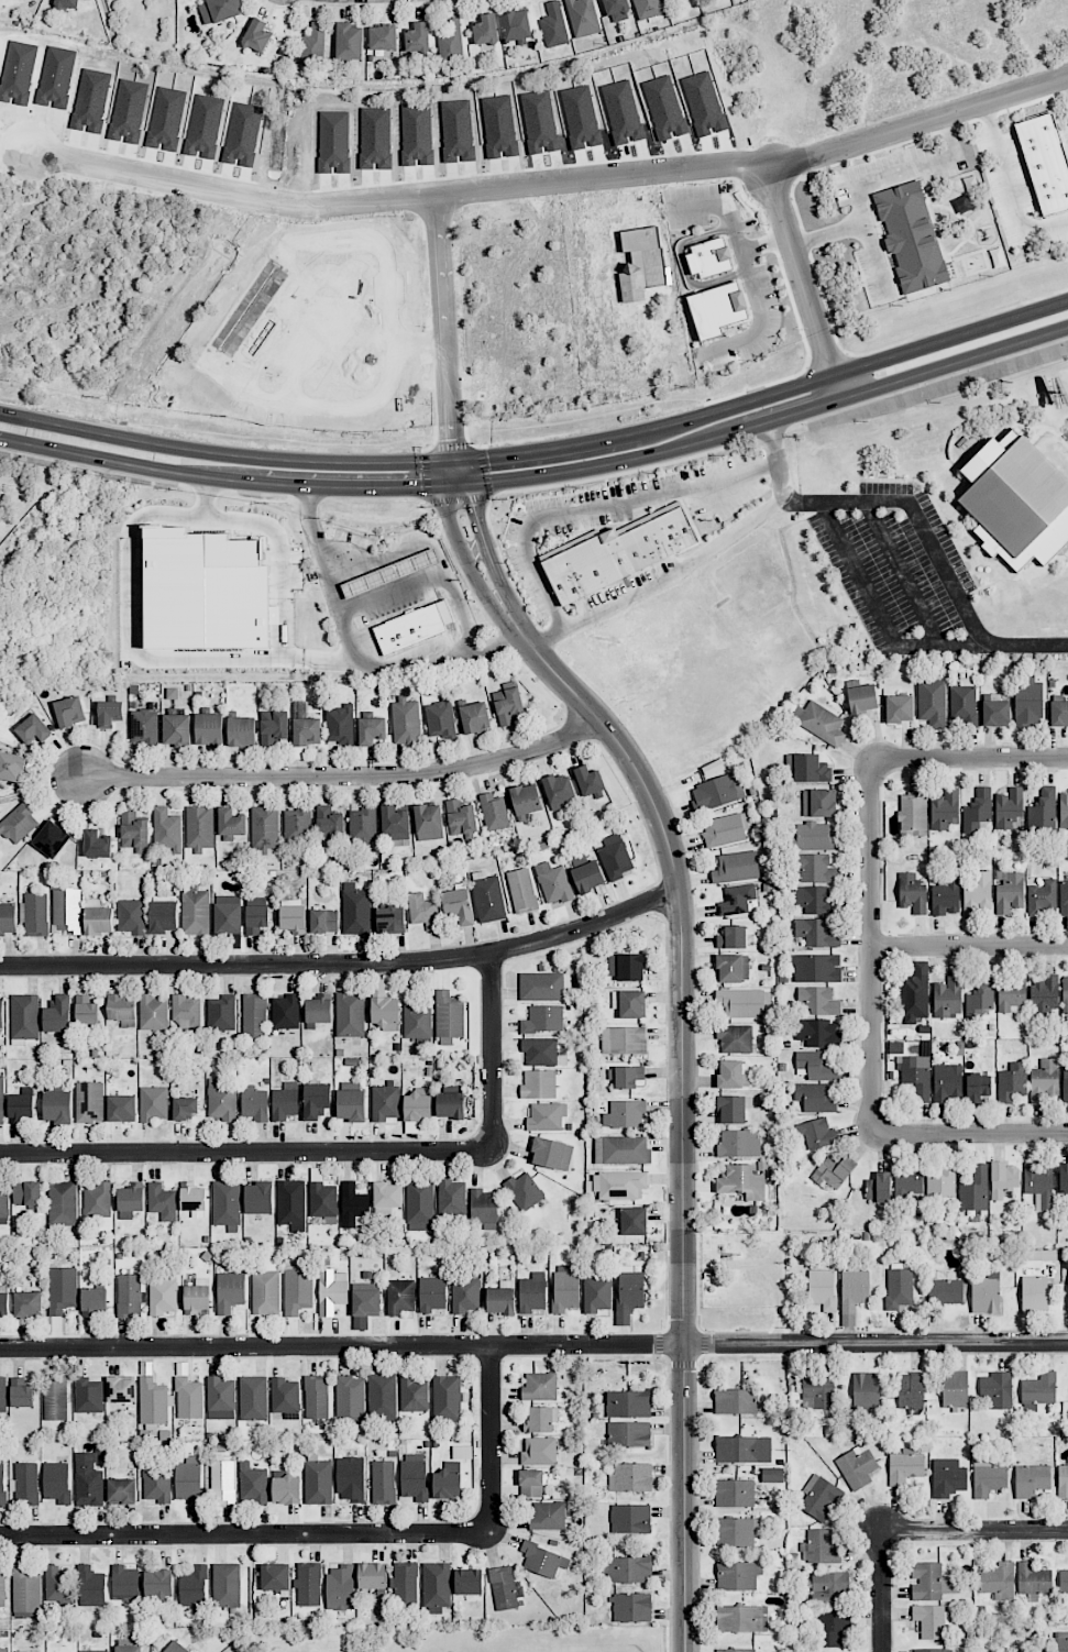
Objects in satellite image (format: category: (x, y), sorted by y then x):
building: (67, 4)
building: (648, 8)
building: (219, 10)
building: (617, 10)
building: (583, 18)
building: (516, 25)
building: (553, 25)
building: (485, 30)
building: (256, 35)
building: (383, 37)
building: (417, 37)
building: (349, 42)
building: (451, 43)
building: (313, 46)
road: (1065, 86)
road: (918, 122)
building: (1046, 161)
road: (870, 179)
road: (1011, 184)
building: (971, 185)
road: (398, 197)
road: (728, 209)
building: (911, 236)
road: (349, 239)
building: (709, 256)
road: (876, 258)
road: (280, 260)
road: (804, 284)
road: (764, 300)
building: (717, 308)
road: (246, 311)
road: (441, 328)
road: (417, 342)
road: (225, 375)
road: (762, 397)
road: (279, 399)
road: (370, 404)
road: (771, 421)
traffic signals: (449, 438)
road: (223, 454)
traffic signals: (489, 458)
road: (459, 473)
road: (231, 480)
traffic signals: (410, 487)
building: (1016, 500)
traffic signals: (473, 507)
road: (599, 507)
road: (481, 535)
road: (460, 546)
road: (935, 551)
building: (618, 553)
road: (288, 558)
road: (693, 559)
building: (389, 573)
gas station: (389, 573)
road: (903, 573)
road: (430, 576)
building: (208, 596)
road: (507, 599)
road: (880, 618)
building: (414, 628)
road: (133, 642)
road: (359, 656)
building: (862, 698)
building: (1028, 702)
building: (932, 703)
building: (964, 704)
building: (508, 706)
street lamp: (560, 708)
building: (899, 708)
building: (69, 712)
building: (109, 713)
building: (995, 713)
building: (1058, 714)
building: (475, 717)
building: (440, 718)
building: (406, 720)
building: (819, 723)
building: (340, 724)
building: (144, 727)
building: (274, 727)
building: (33, 729)
building: (176, 729)
building: (209, 729)
building: (371, 730)
building: (241, 731)
building: (306, 731)
road: (969, 760)
building: (11, 767)
building: (808, 768)
road: (345, 777)
building: (588, 780)
building: (558, 791)
building: (717, 792)
building: (525, 799)
building: (818, 803)
building: (945, 808)
building: (1009, 808)
building: (1044, 810)
building: (977, 811)
building: (1064, 811)
building: (494, 812)
building: (913, 813)
building: (461, 819)
building: (428, 822)
building: (395, 823)
building: (19, 824)
building: (231, 824)
building: (297, 825)
building: (329, 825)
building: (362, 825)
building: (199, 827)
building: (264, 828)
building: (167, 829)
building: (725, 829)
building: (133, 830)
building: (817, 837)
building: (52, 839)
building: (97, 844)
building: (616, 858)
building: (736, 867)
building: (815, 869)
building: (587, 877)
building: (553, 883)
building: (521, 891)
building: (912, 893)
building: (1009, 893)
building: (978, 894)
building: (487, 896)
building: (945, 896)
building: (1064, 897)
building: (1043, 899)
building: (737, 900)
building: (815, 900)
building: (458, 905)
building: (355, 910)
building: (67, 911)
building: (422, 911)
building: (195, 913)
building: (36, 914)
building: (131, 916)
building: (163, 917)
building: (8, 918)
building: (228, 918)
building: (256, 918)
building: (294, 918)
street lamp: (657, 918)
building: (390, 919)
building: (99, 921)
building: (323, 921)
building: (817, 932)
building: (731, 937)
road: (968, 947)
road: (869, 948)
road: (345, 963)
building: (626, 967)
building: (731, 968)
building: (817, 968)
building: (543, 985)
building: (915, 994)
building: (1011, 994)
building: (1065, 994)
building: (1044, 995)
building: (948, 998)
building: (980, 998)
building: (818, 1001)
building: (629, 1003)
building: (741, 1003)
building: (383, 1006)
building: (122, 1009)
building: (318, 1010)
building: (86, 1011)
building: (186, 1011)
building: (153, 1012)
building: (285, 1012)
building: (221, 1013)
building: (57, 1014)
building: (349, 1014)
building: (254, 1015)
building: (24, 1016)
building: (1, 1017)
building: (448, 1017)
building: (543, 1020)
building: (417, 1022)
building: (818, 1033)
building: (735, 1039)
building: (624, 1040)
building: (895, 1047)
building: (540, 1051)
road: (493, 1054)
building: (816, 1067)
building: (731, 1075)
building: (626, 1076)
building: (917, 1076)
building: (1045, 1080)
building: (947, 1082)
building: (1012, 1082)
building: (1065, 1083)
building: (539, 1084)
building: (977, 1087)
building: (1, 1098)
building: (815, 1098)
building: (221, 1100)
building: (316, 1100)
building: (285, 1101)
building: (89, 1102)
building: (254, 1103)
building: (153, 1104)
building: (351, 1105)
building: (450, 1105)
building: (57, 1106)
building: (417, 1106)
building: (21, 1108)
building: (185, 1108)
road: (682, 1108)
building: (122, 1109)
building: (731, 1110)
building: (625, 1114)
building: (546, 1116)
building: (817, 1133)
road: (970, 1134)
building: (739, 1143)
building: (621, 1150)
road: (246, 1154)
building: (551, 1154)
building: (834, 1170)
building: (1063, 1177)
building: (909, 1179)
building: (1003, 1179)
building: (742, 1181)
building: (940, 1182)
building: (1038, 1183)
building: (619, 1185)
building: (879, 1188)
building: (975, 1190)
building: (524, 1191)
building: (26, 1193)
building: (192, 1198)
building: (258, 1198)
building: (386, 1198)
building: (451, 1198)
building: (131, 1200)
building: (97, 1201)
building: (419, 1201)
building: (162, 1202)
building: (227, 1202)
building: (323, 1202)
building: (62, 1203)
building: (291, 1204)
building: (354, 1205)
building: (3, 1207)
building: (483, 1209)
building: (634, 1221)
building: (1039, 1255)
building: (1067, 1271)
building: (854, 1287)
building: (899, 1288)
building: (62, 1289)
building: (565, 1289)
building: (822, 1289)
building: (266, 1290)
building: (298, 1290)
building: (230, 1291)
building: (331, 1291)
building: (945, 1291)
building: (532, 1292)
building: (163, 1293)
building: (431, 1293)
building: (597, 1293)
building: (629, 1293)
building: (986, 1293)
building: (1034, 1295)
building: (129, 1296)
building: (464, 1296)
building: (399, 1297)
building: (196, 1299)
building: (366, 1299)
building: (3, 1301)
building: (93, 1301)
building: (500, 1301)
building: (27, 1304)
building: (848, 1320)
road: (533, 1345)
street lamp: (664, 1362)
building: (540, 1386)
building: (121, 1389)
building: (955, 1389)
building: (911, 1390)
building: (818, 1391)
building: (866, 1391)
building: (995, 1391)
building: (1038, 1391)
building: (21, 1394)
building: (2, 1395)
building: (89, 1395)
building: (414, 1395)
building: (285, 1397)
building: (316, 1397)
building: (350, 1397)
building: (382, 1397)
building: (55, 1398)
building: (189, 1398)
building: (220, 1398)
building: (253, 1398)
building: (447, 1398)
building: (154, 1401)
building: (735, 1401)
building: (628, 1403)
building: (541, 1419)
building: (629, 1434)
road: (491, 1441)
building: (742, 1450)
building: (99, 1451)
building: (539, 1451)
building: (462, 1452)
building: (857, 1466)
building: (905, 1466)
building: (772, 1475)
building: (414, 1476)
building: (947, 1477)
building: (988, 1477)
building: (351, 1478)
building: (631, 1478)
building: (448, 1480)
building: (1032, 1480)
building: (318, 1482)
building: (383, 1482)
building: (1063, 1482)
building: (2, 1483)
building: (26, 1483)
building: (57, 1483)
building: (189, 1484)
building: (252, 1484)
building: (530, 1484)
building: (88, 1485)
building: (157, 1485)
building: (286, 1488)
building: (121, 1491)
building: (735, 1493)
building: (819, 1497)
building: (550, 1516)
building: (630, 1519)
road: (975, 1528)
building: (736, 1531)
road: (245, 1537)
building: (819, 1548)
building: (543, 1560)
building: (627, 1570)
building: (738, 1575)
building: (372, 1576)
building: (275, 1577)
building: (999, 1581)
building: (1033, 1581)
building: (1064, 1581)
building: (469, 1582)
building: (929, 1582)
building: (125, 1583)
building: (158, 1583)
building: (308, 1584)
building: (404, 1584)
building: (227, 1585)
building: (59, 1586)
building: (91, 1586)
building: (340, 1587)
building: (437, 1587)
building: (2, 1588)
building: (504, 1588)
building: (829, 1588)
building: (25, 1589)
building: (194, 1589)
road: (882, 1590)
building: (631, 1607)
building: (741, 1619)
building: (929, 1620)
building: (832, 1628)
building: (1063, 1642)
building: (175, 1648)
building: (129, 1649)
building: (1026, 1649)
building: (3, 1650)
building: (736, 1650)
building: (933, 1650)
building: (30, 1651)
building: (95, 1651)

